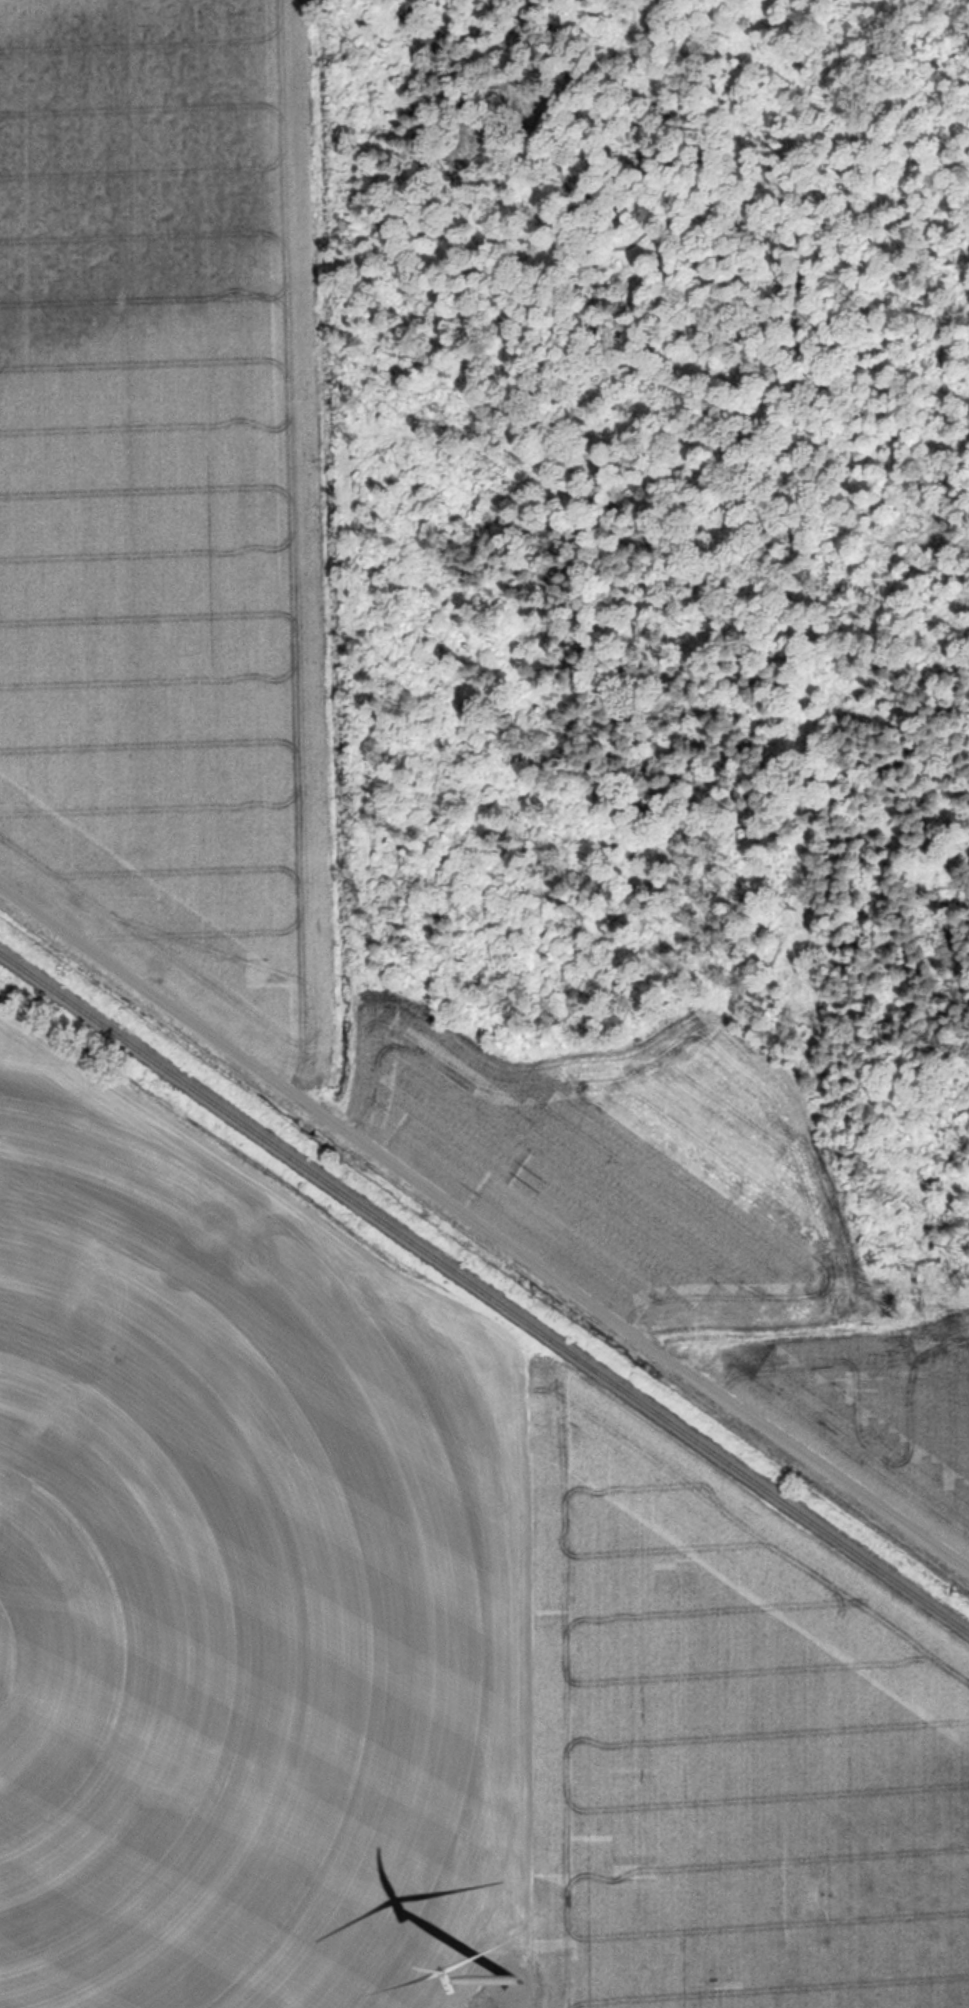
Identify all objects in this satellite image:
road: (484, 1228)
railway: (484, 1294)
wind turbine: (511, 1970)

